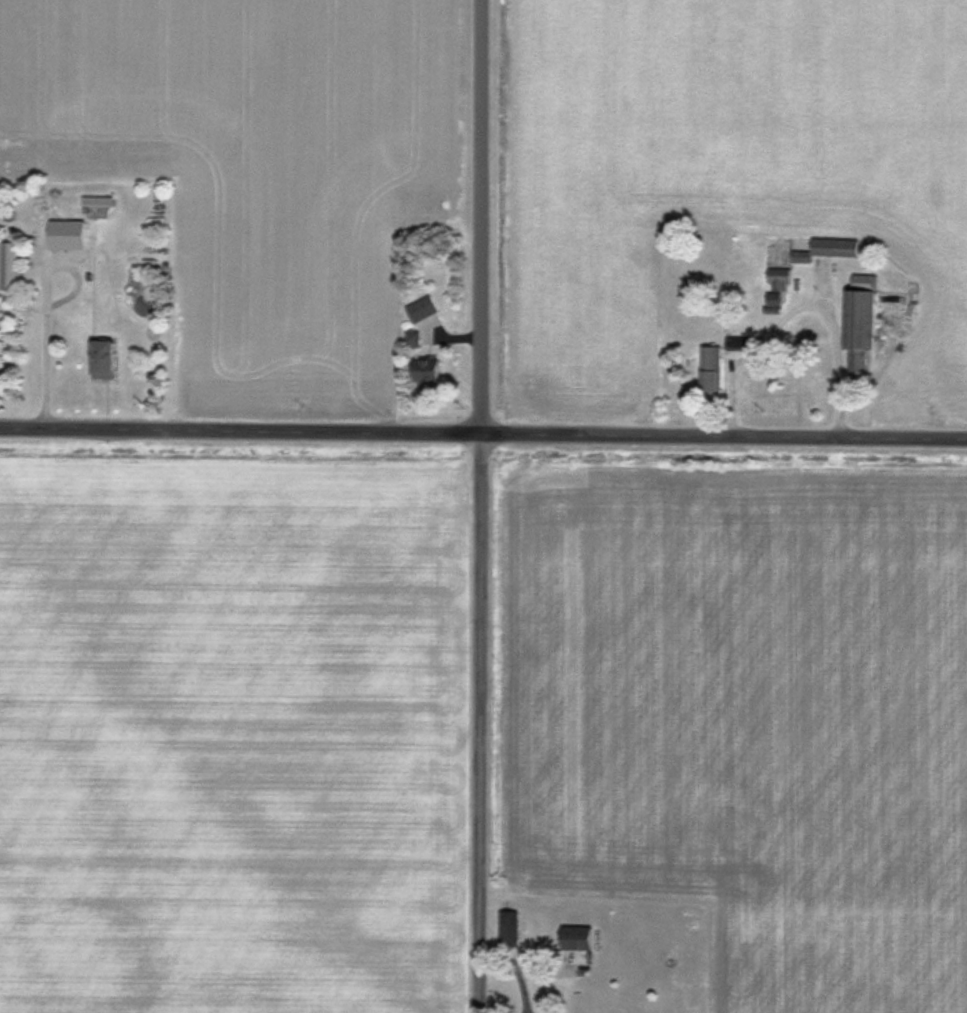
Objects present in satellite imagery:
building: (101, 201)
building: (838, 248)
building: (11, 265)
building: (780, 278)
road: (51, 304)
road: (797, 304)
building: (425, 309)
building: (866, 318)
building: (112, 358)
building: (714, 369)
building: (429, 370)
road: (483, 429)
road: (482, 506)
building: (511, 928)
building: (581, 939)
road: (516, 969)

